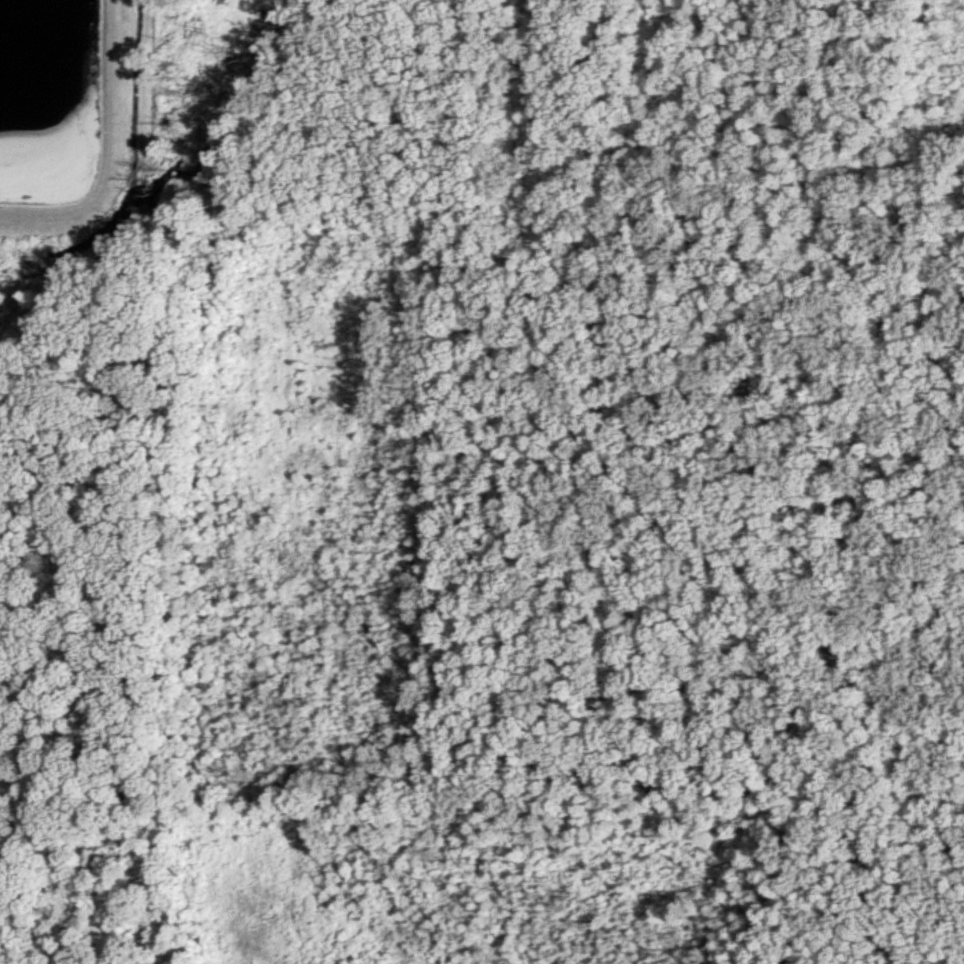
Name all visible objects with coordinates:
wastewater plant: (71, 117)
road: (109, 152)

